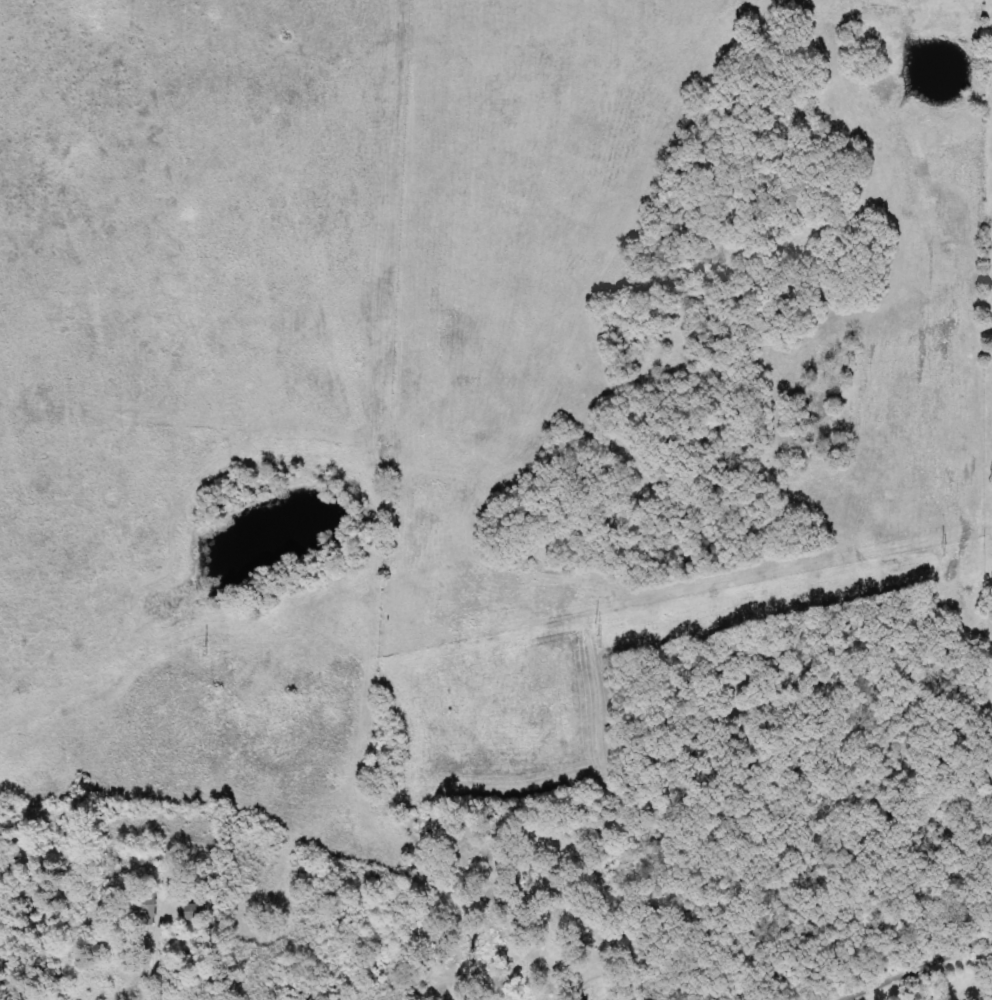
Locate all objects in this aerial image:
power tower: (943, 549)
power tower: (600, 632)
power tower: (205, 649)
building: (145, 905)
road: (921, 970)
road: (403, 971)

